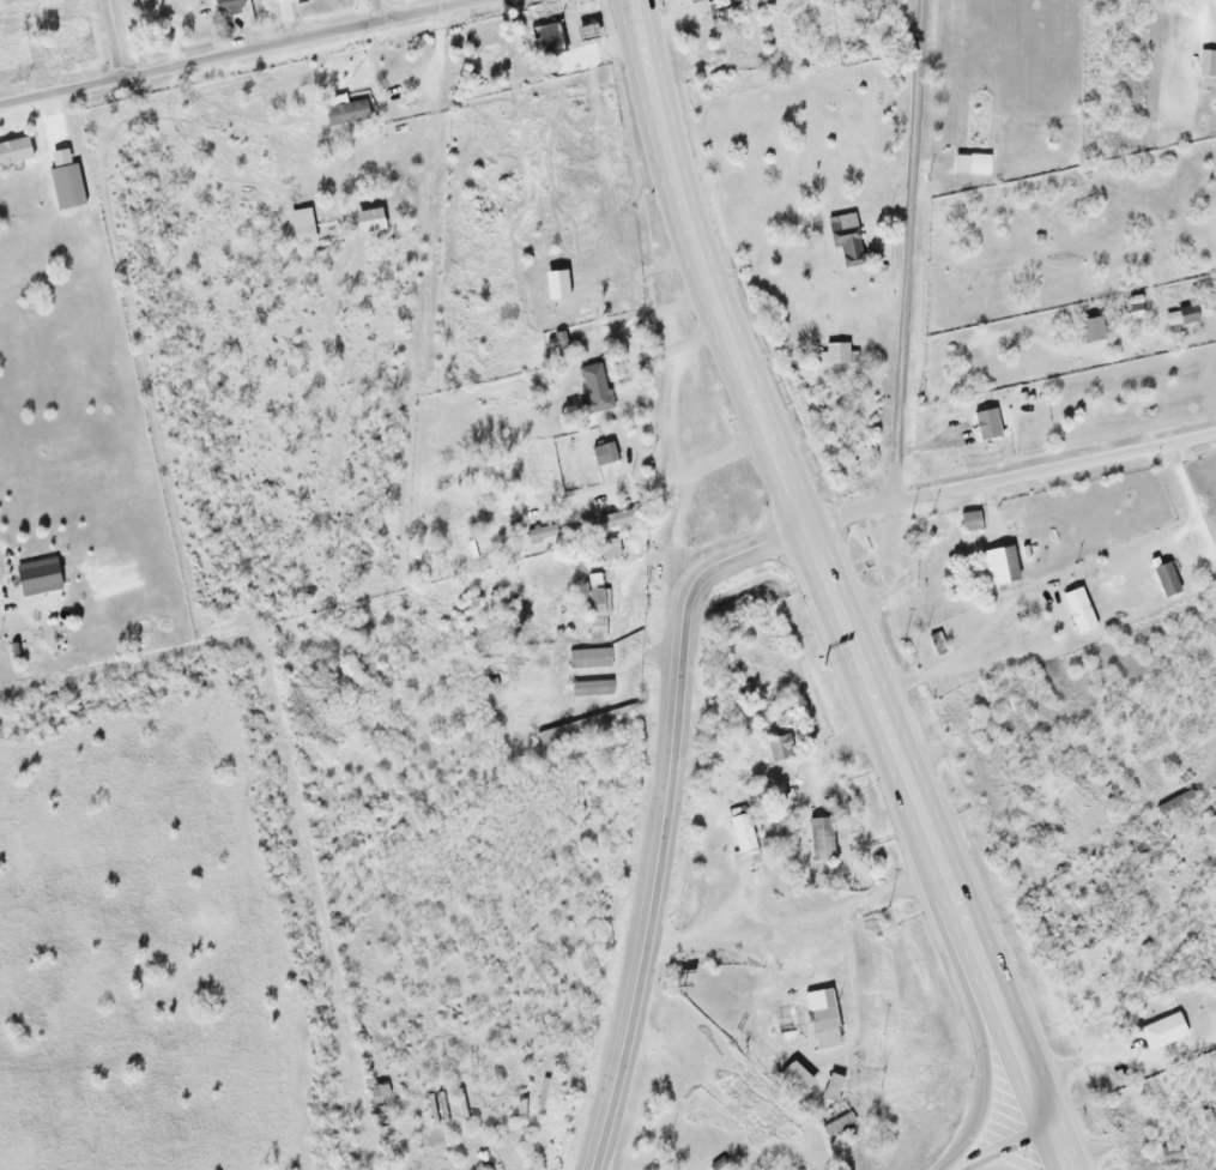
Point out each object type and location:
building: (224, 2)
road: (381, 10)
building: (544, 37)
road: (113, 40)
building: (720, 50)
road: (235, 53)
building: (1206, 64)
building: (14, 150)
building: (969, 163)
building: (65, 187)
building: (845, 237)
road: (702, 267)
road: (901, 295)
building: (1131, 307)
building: (1185, 313)
building: (835, 352)
building: (593, 387)
building: (985, 423)
building: (601, 454)
road: (1052, 463)
building: (968, 519)
building: (539, 532)
building: (606, 548)
building: (994, 563)
building: (35, 577)
building: (1164, 577)
building: (1076, 608)
building: (587, 657)
building: (589, 687)
building: (779, 747)
building: (1174, 801)
building: (1208, 813)
road: (659, 816)
road: (925, 833)
building: (818, 837)
building: (740, 838)
building: (818, 1018)
railway: (1089, 1019)
building: (1161, 1030)
building: (793, 1079)
building: (379, 1088)
building: (763, 1103)
building: (834, 1117)
road: (1011, 1153)
road: (1060, 1153)
building: (1168, 1153)

